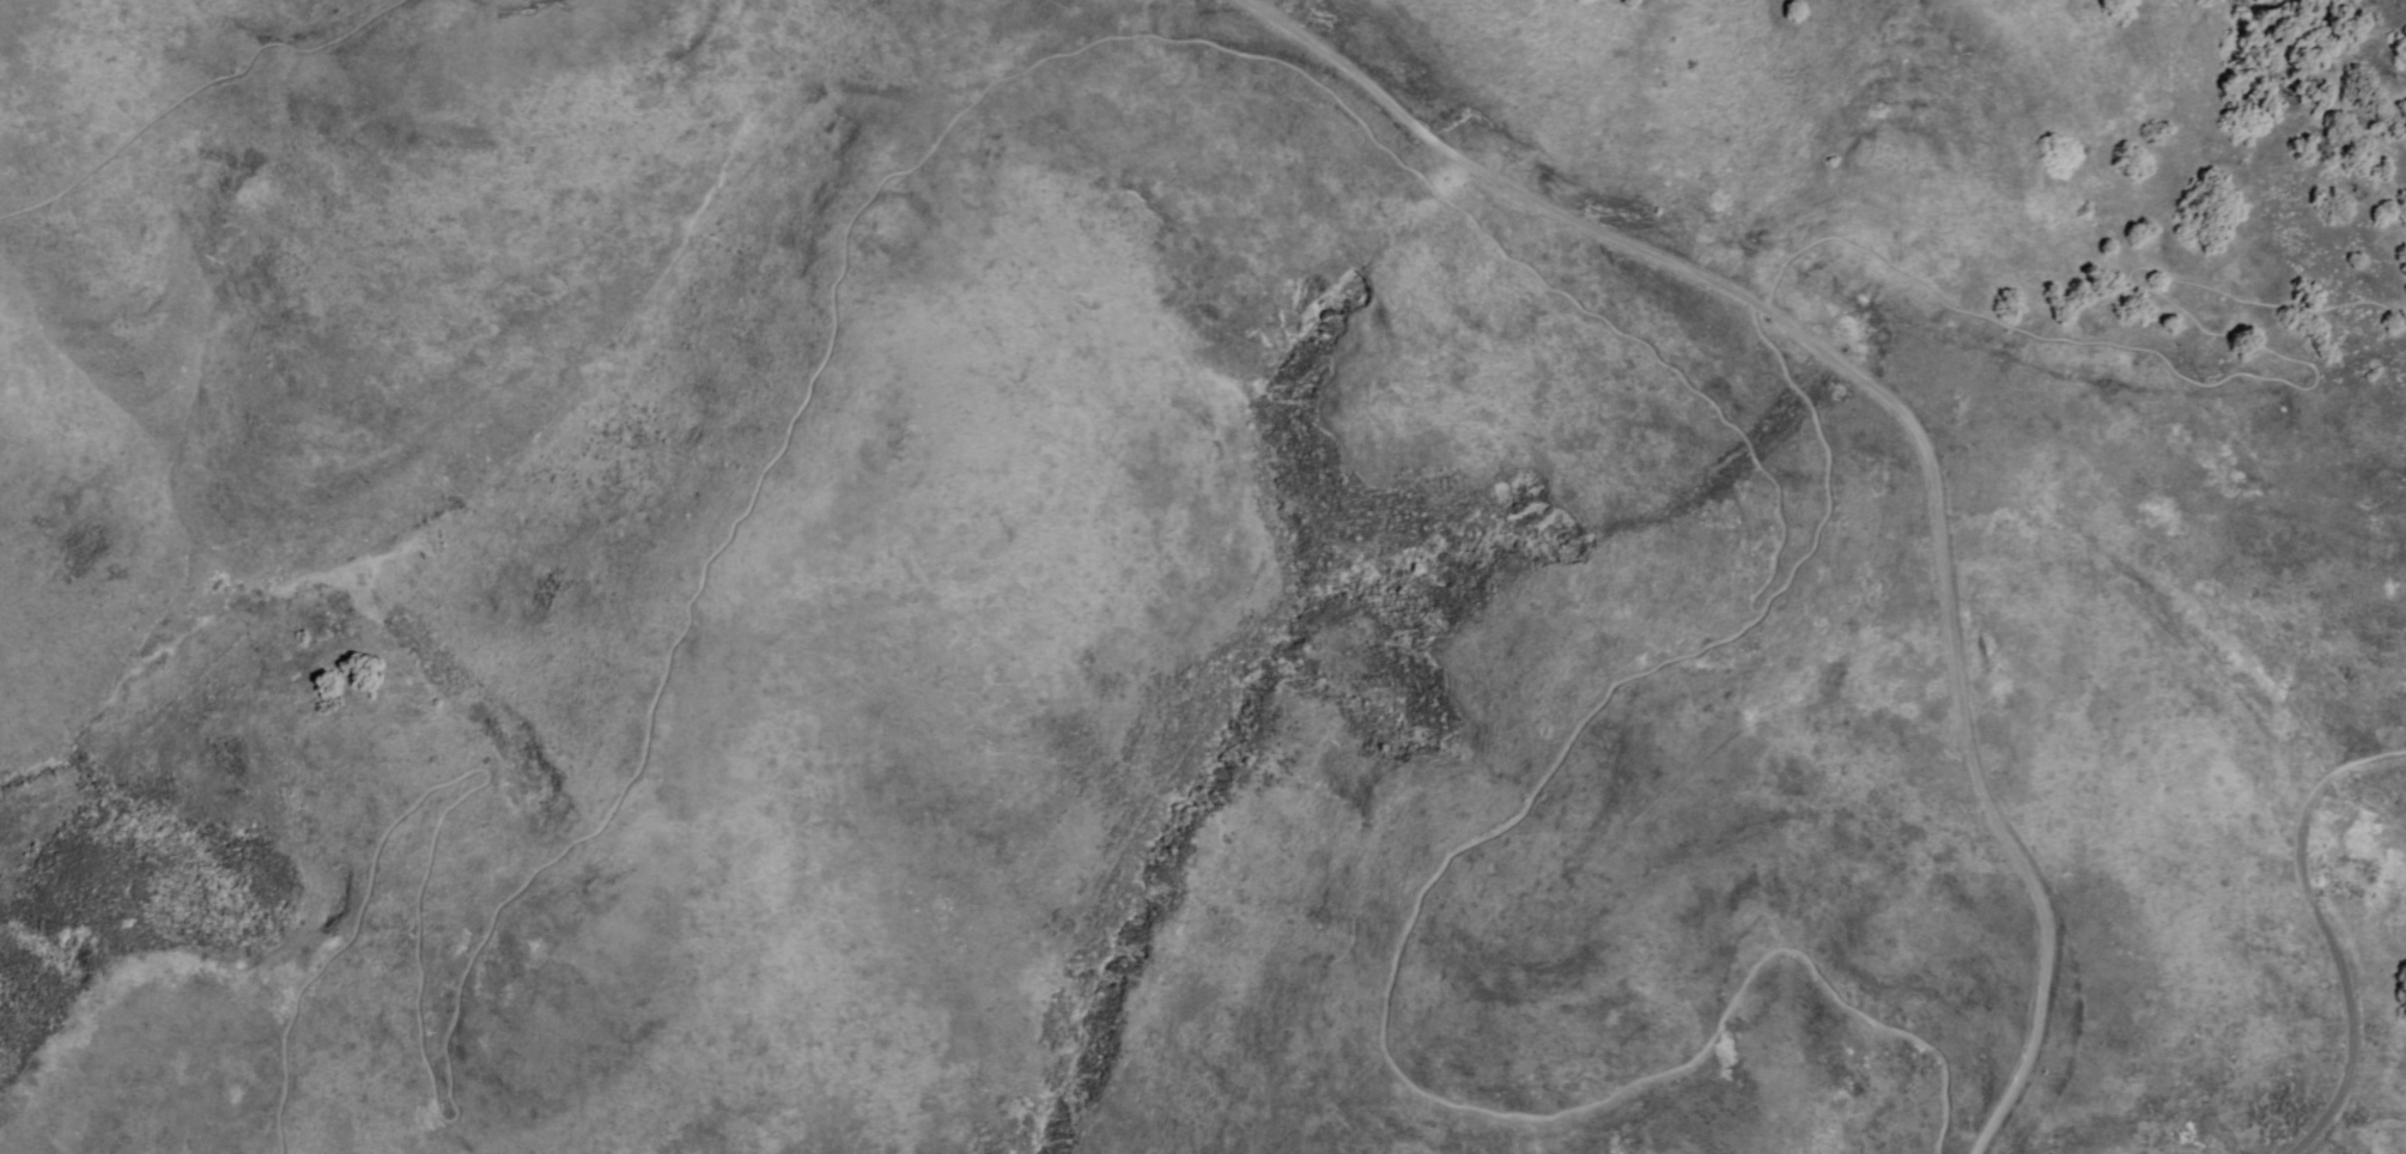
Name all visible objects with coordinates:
road: (1908, 414)
road: (2327, 933)

